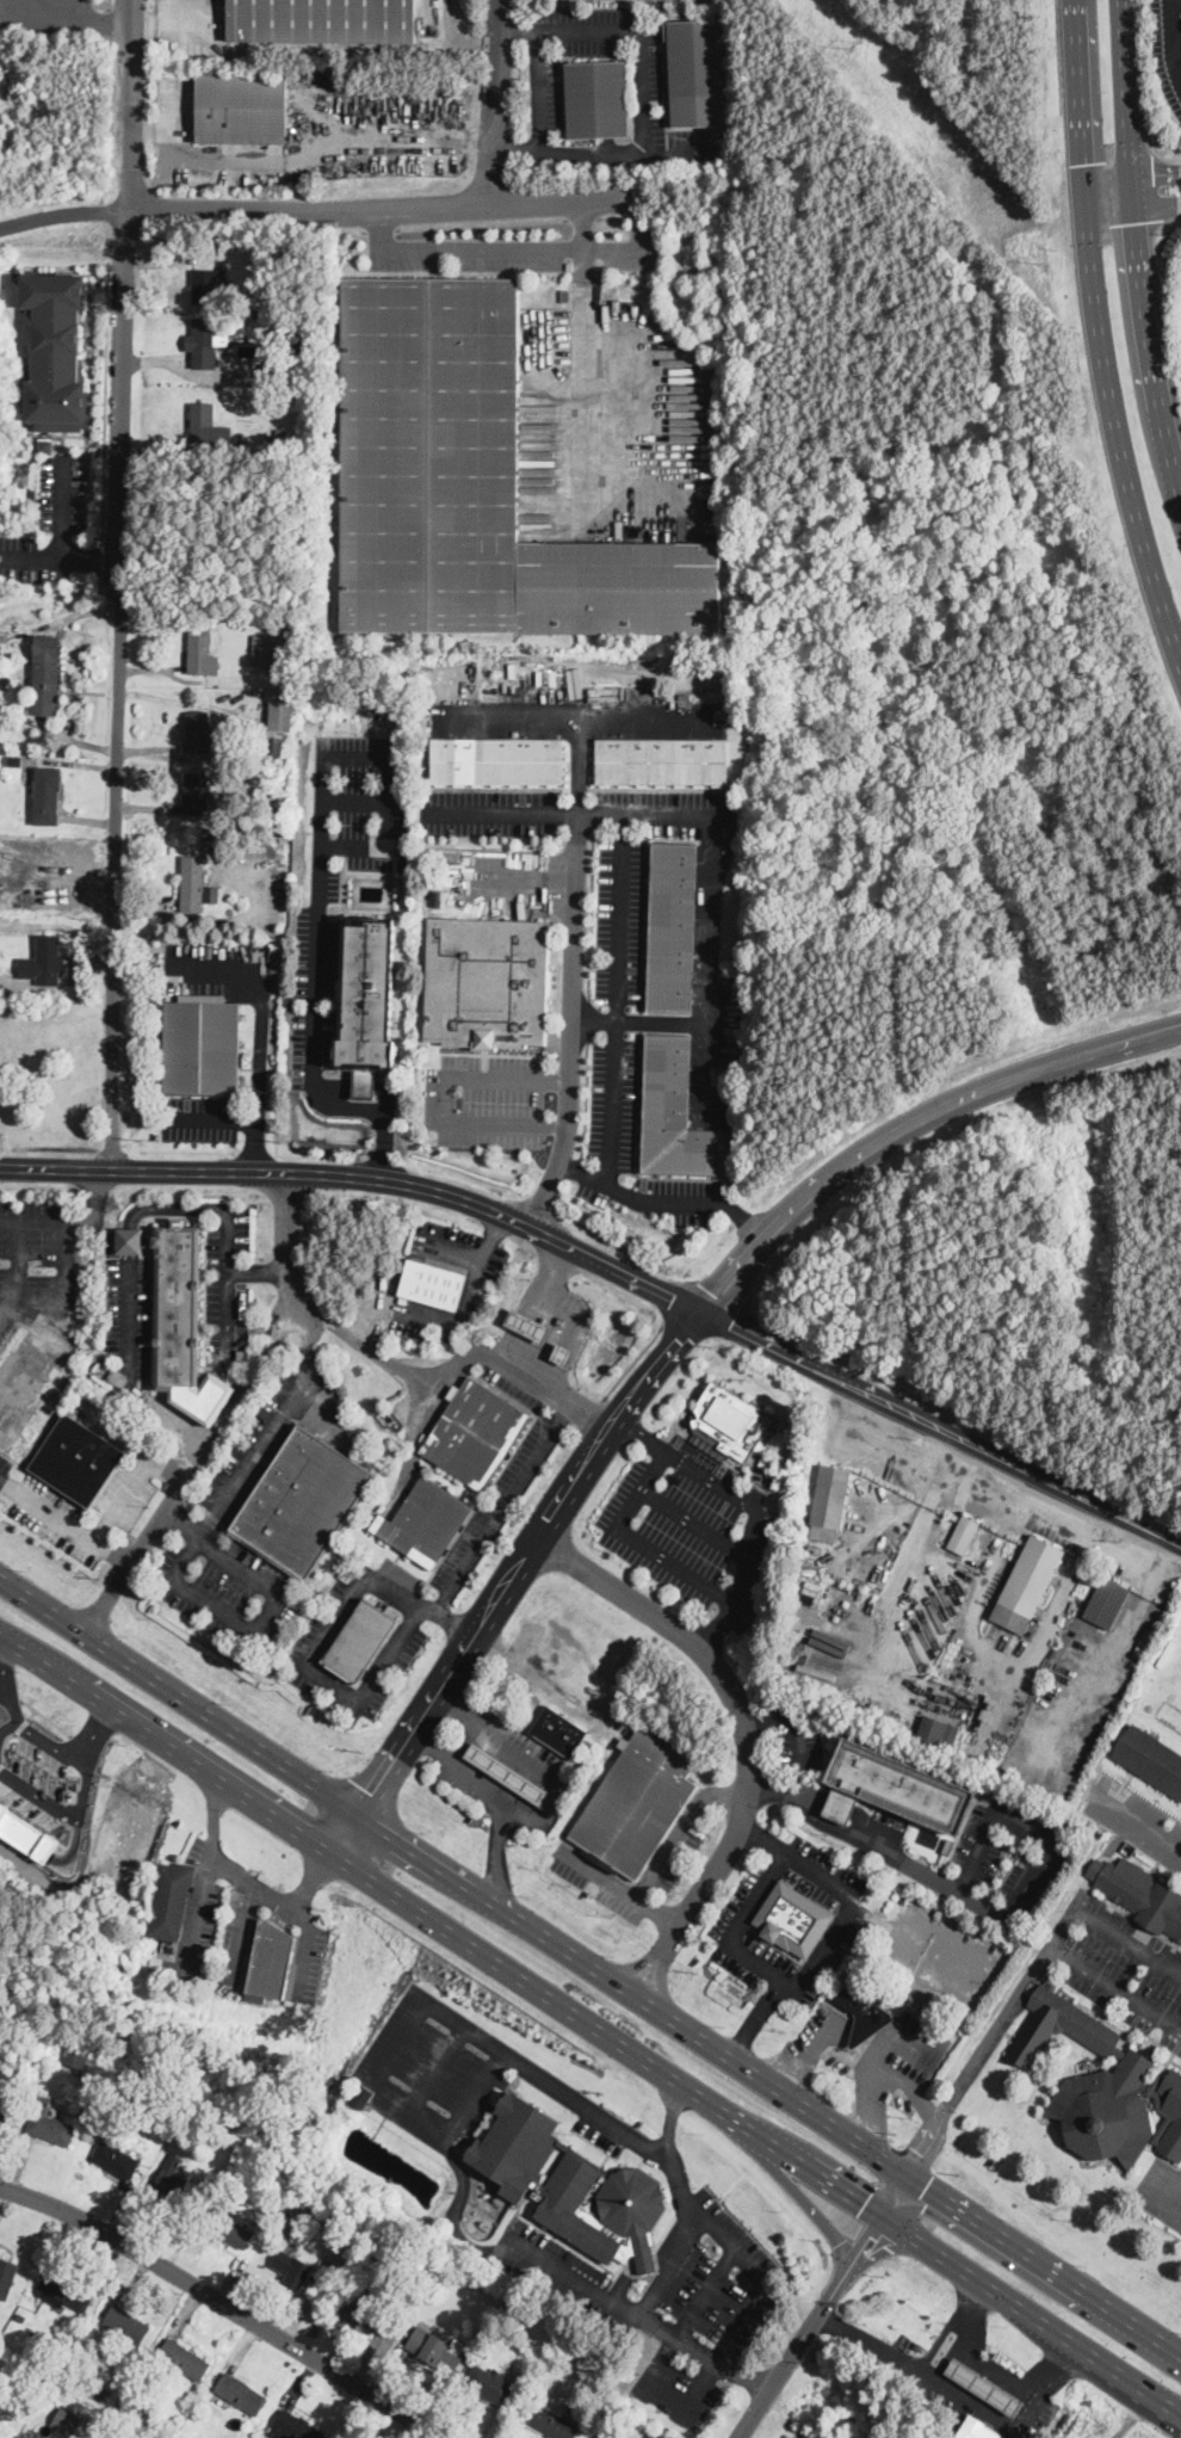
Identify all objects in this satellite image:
road: (1179, 0)
building: (323, 20)
road: (1174, 33)
power tower: (857, 44)
road: (1058, 56)
building: (697, 72)
parking lot: (544, 79)
road: (537, 87)
road: (1143, 90)
road: (643, 91)
building: (598, 100)
road: (497, 103)
building: (242, 107)
road: (1105, 146)
road: (307, 150)
road: (672, 150)
traffic signals: (1078, 163)
traffic signals: (1157, 174)
road: (1130, 178)
road: (1151, 186)
road: (421, 208)
road: (62, 212)
road: (1131, 212)
traffic signals: (1133, 221)
road: (585, 224)
road: (482, 227)
road: (381, 229)
road: (1111, 230)
building: (261, 242)
building: (251, 243)
road: (519, 249)
road: (1134, 251)
power tower: (1044, 261)
building: (274, 273)
building: (209, 285)
building: (565, 295)
road: (1162, 308)
road: (1089, 329)
building: (214, 339)
building: (293, 341)
building: (56, 351)
road: (583, 365)
building: (287, 372)
road: (105, 403)
building: (208, 427)
building: (278, 444)
building: (47, 445)
building: (431, 455)
road: (63, 541)
road: (92, 561)
road: (120, 584)
building: (620, 587)
building: (274, 650)
building: (199, 653)
building: (47, 675)
building: (732, 704)
road: (576, 714)
building: (278, 716)
building: (199, 733)
building: (283, 742)
building: (261, 752)
building: (16, 759)
building: (496, 761)
building: (662, 761)
road: (577, 763)
building: (196, 794)
building: (48, 796)
road: (353, 800)
road: (573, 809)
building: (227, 827)
road: (319, 845)
building: (403, 863)
road: (526, 878)
building: (193, 884)
building: (211, 893)
building: (672, 927)
building: (161, 948)
building: (45, 962)
road: (314, 965)
building: (5, 976)
building: (488, 982)
road: (616, 998)
building: (367, 1001)
road: (593, 1018)
road: (569, 1020)
road: (261, 1036)
building: (203, 1045)
road: (358, 1081)
road: (445, 1098)
road: (378, 1110)
building: (678, 1116)
road: (915, 1122)
road: (364, 1177)
road: (638, 1197)
road: (93, 1202)
road: (749, 1216)
parking lot: (38, 1258)
road: (17, 1265)
road: (131, 1265)
road: (63, 1271)
road: (290, 1276)
building: (433, 1284)
parking lot: (227, 1291)
building: (173, 1301)
road: (540, 1306)
road: (4, 1310)
parking lot: (130, 1316)
road: (453, 1317)
building: (561, 1320)
building: (527, 1325)
building: (563, 1353)
building: (243, 1357)
road: (633, 1362)
road: (453, 1365)
building: (341, 1390)
building: (731, 1421)
road: (941, 1428)
building: (475, 1433)
road: (205, 1437)
road: (644, 1437)
building: (78, 1459)
building: (766, 1465)
parking lot: (5, 1469)
road: (916, 1495)
building: (303, 1501)
building: (830, 1502)
parking lot: (82, 1511)
road: (66, 1520)
road: (183, 1522)
building: (425, 1522)
road: (697, 1525)
parking lot: (693, 1526)
building: (964, 1533)
road: (196, 1538)
road: (910, 1555)
building: (811, 1557)
road: (240, 1563)
road: (509, 1573)
building: (1028, 1585)
road: (383, 1586)
road: (724, 1600)
building: (1107, 1603)
road: (451, 1624)
road: (718, 1627)
building: (1082, 1627)
building: (359, 1642)
road: (1113, 1655)
road: (995, 1658)
road: (455, 1705)
building: (859, 1711)
building: (558, 1730)
road: (744, 1730)
building: (934, 1730)
road: (798, 1735)
road: (462, 1740)
building: (624, 1741)
parking lot: (791, 1742)
road: (428, 1746)
building: (1150, 1758)
building: (508, 1773)
road: (556, 1777)
road: (475, 1779)
building: (894, 1788)
road: (726, 1792)
building: (637, 1803)
road: (212, 1813)
parking lot: (1136, 1820)
road: (1137, 1821)
road: (1026, 1825)
road: (761, 1841)
road: (873, 1847)
building: (948, 1847)
parking lot: (1016, 1847)
road: (500, 1852)
road: (208, 1858)
road: (314, 1877)
road: (648, 1881)
building: (1140, 1895)
building: (171, 1901)
road: (657, 1914)
building: (792, 1919)
building: (1021, 1920)
road: (246, 1931)
road: (1127, 1938)
road: (303, 1949)
building: (270, 1962)
parking lot: (1117, 1965)
road: (590, 1967)
building: (851, 1973)
road: (800, 1982)
road: (1114, 1986)
building: (895, 1996)
road: (756, 2014)
building: (864, 2014)
building: (904, 2016)
road: (592, 2020)
road: (864, 2029)
building: (61, 2035)
road: (879, 2038)
road: (988, 2038)
road: (811, 2047)
building: (76, 2054)
parking lot: (434, 2061)
road: (873, 2061)
road: (437, 2064)
building: (167, 2072)
building: (1089, 2079)
road: (909, 2086)
building: (1154, 2088)
building: (363, 2096)
building: (2, 2113)
building: (1170, 2115)
road: (668, 2117)
building: (224, 2118)
building: (48, 2122)
road: (447, 2130)
building: (517, 2144)
traffic signals: (921, 2150)
building: (115, 2159)
building: (171, 2178)
road: (789, 2183)
traffic signals: (928, 2187)
parking lot: (1161, 2190)
road: (896, 2193)
traffic signals: (864, 2199)
road: (1173, 2203)
building: (573, 2205)
road: (691, 2208)
building: (627, 2210)
road: (452, 2211)
building: (229, 2229)
traffic signals: (868, 2236)
parking lot: (557, 2251)
road: (653, 2255)
building: (292, 2266)
building: (6, 2275)
building: (64, 2291)
road: (228, 2303)
road: (626, 2307)
parking lot: (703, 2307)
building: (371, 2314)
building: (126, 2322)
road: (685, 2323)
road: (811, 2325)
road: (962, 2331)
building: (432, 2348)
road: (703, 2352)
building: (184, 2358)
road: (997, 2369)
gas station: (991, 2383)
building: (490, 2384)
building: (983, 2385)
building: (240, 2391)
road: (965, 2397)
building: (554, 2420)
building: (293, 2426)
building: (977, 2428)

